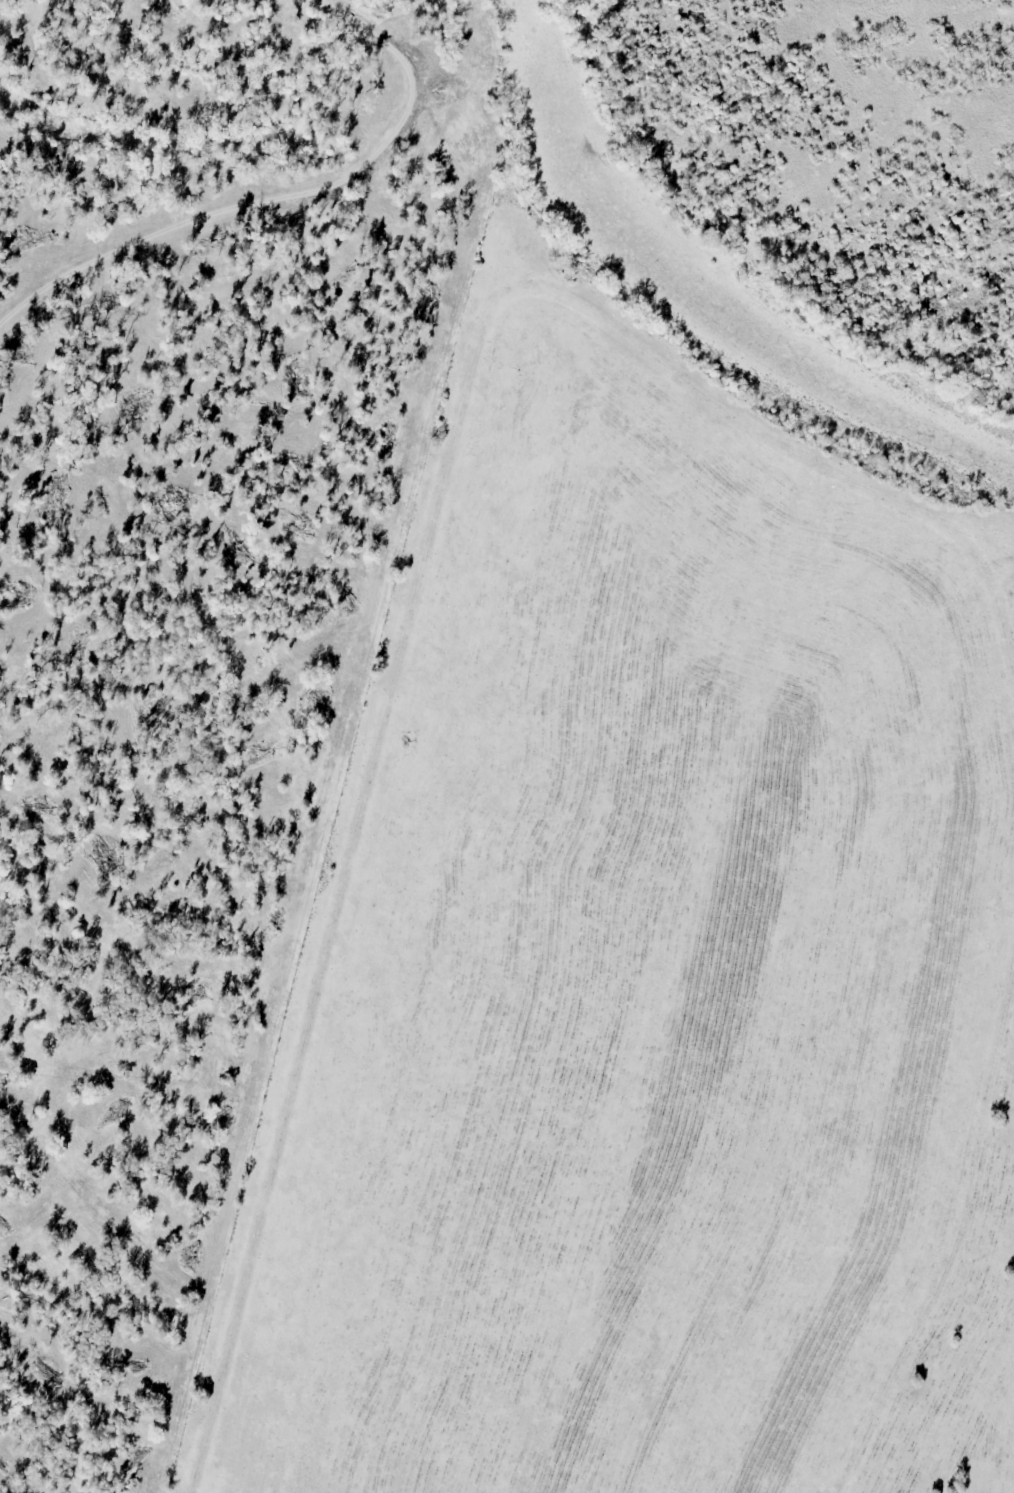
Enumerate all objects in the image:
road: (286, 204)

